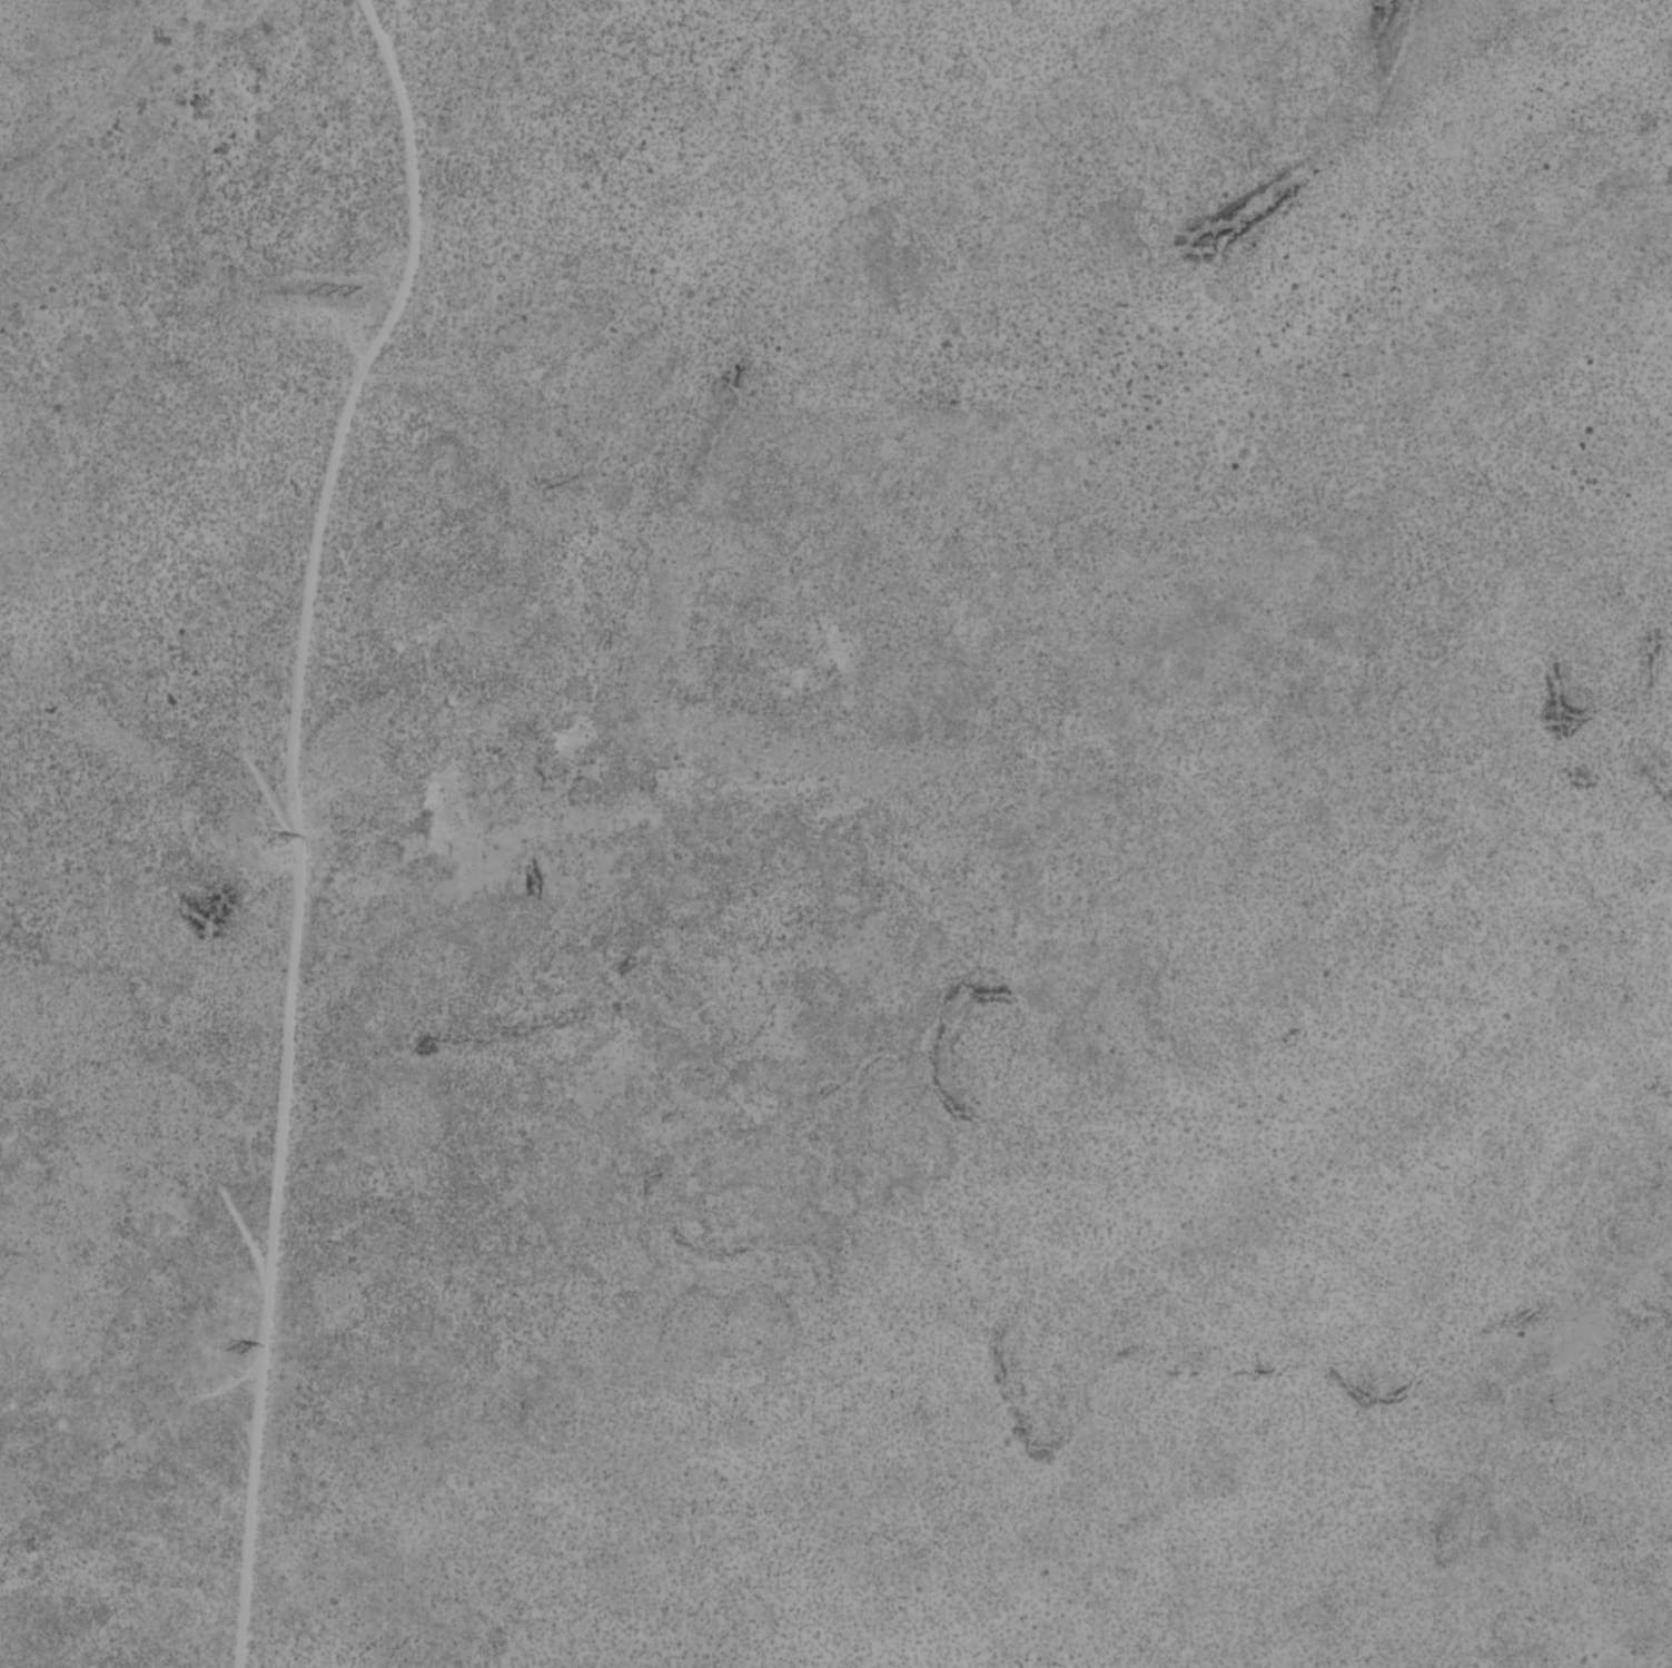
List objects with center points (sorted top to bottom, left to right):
road: (93, 97)
power tower: (344, 297)
road: (366, 835)
power tower: (284, 847)
power tower: (240, 1354)

